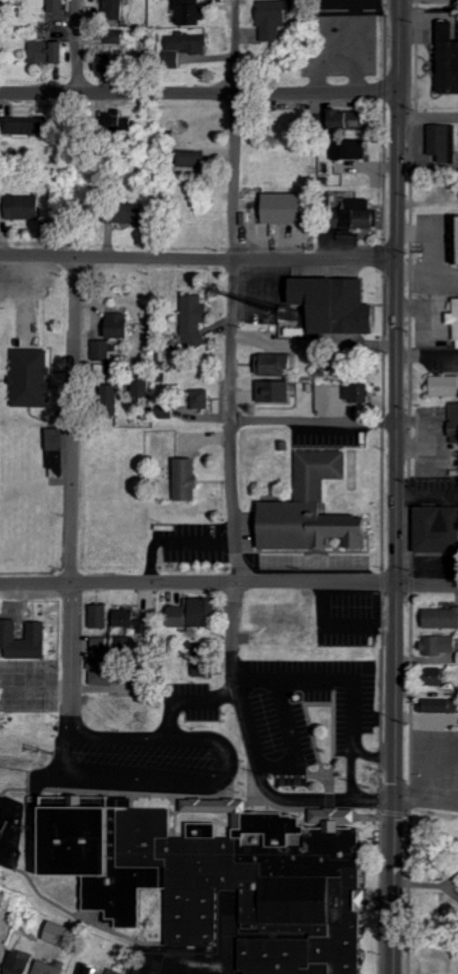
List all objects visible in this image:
road: (341, 3)
building: (58, 6)
parking lot: (346, 7)
building: (116, 10)
building: (192, 12)
building: (275, 18)
road: (319, 31)
building: (189, 43)
road: (381, 43)
road: (76, 47)
building: (50, 52)
building: (113, 55)
road: (351, 55)
building: (445, 59)
road: (197, 92)
road: (426, 116)
building: (343, 117)
building: (28, 126)
building: (436, 141)
building: (343, 148)
building: (194, 159)
building: (26, 207)
building: (282, 207)
building: (126, 213)
building: (351, 217)
building: (452, 238)
road: (196, 257)
parking lot: (261, 293)
building: (332, 303)
building: (196, 320)
building: (452, 320)
road: (228, 325)
building: (121, 326)
building: (103, 351)
building: (277, 365)
building: (33, 378)
building: (439, 385)
building: (143, 386)
building: (116, 390)
building: (351, 391)
building: (276, 392)
building: (203, 399)
building: (167, 411)
building: (450, 422)
road: (310, 423)
parking lot: (324, 435)
building: (58, 453)
building: (189, 479)
road: (392, 486)
road: (71, 498)
building: (309, 508)
building: (431, 529)
road: (170, 541)
parking lot: (189, 541)
parking lot: (309, 561)
road: (195, 580)
road: (425, 584)
building: (196, 614)
parking lot: (343, 615)
building: (438, 615)
building: (102, 617)
building: (26, 640)
building: (101, 643)
building: (432, 643)
building: (204, 661)
road: (228, 670)
building: (110, 675)
building: (429, 675)
road: (344, 680)
building: (432, 704)
building: (456, 719)
parking lot: (270, 726)
road: (292, 742)
road: (253, 752)
road: (348, 768)
parking lot: (433, 771)
road: (218, 781)
road: (12, 788)
building: (215, 875)
road: (78, 919)
building: (62, 935)
parking lot: (190, 950)
building: (21, 963)
building: (51, 968)
building: (91, 970)
building: (424, 970)
building: (115, 972)

